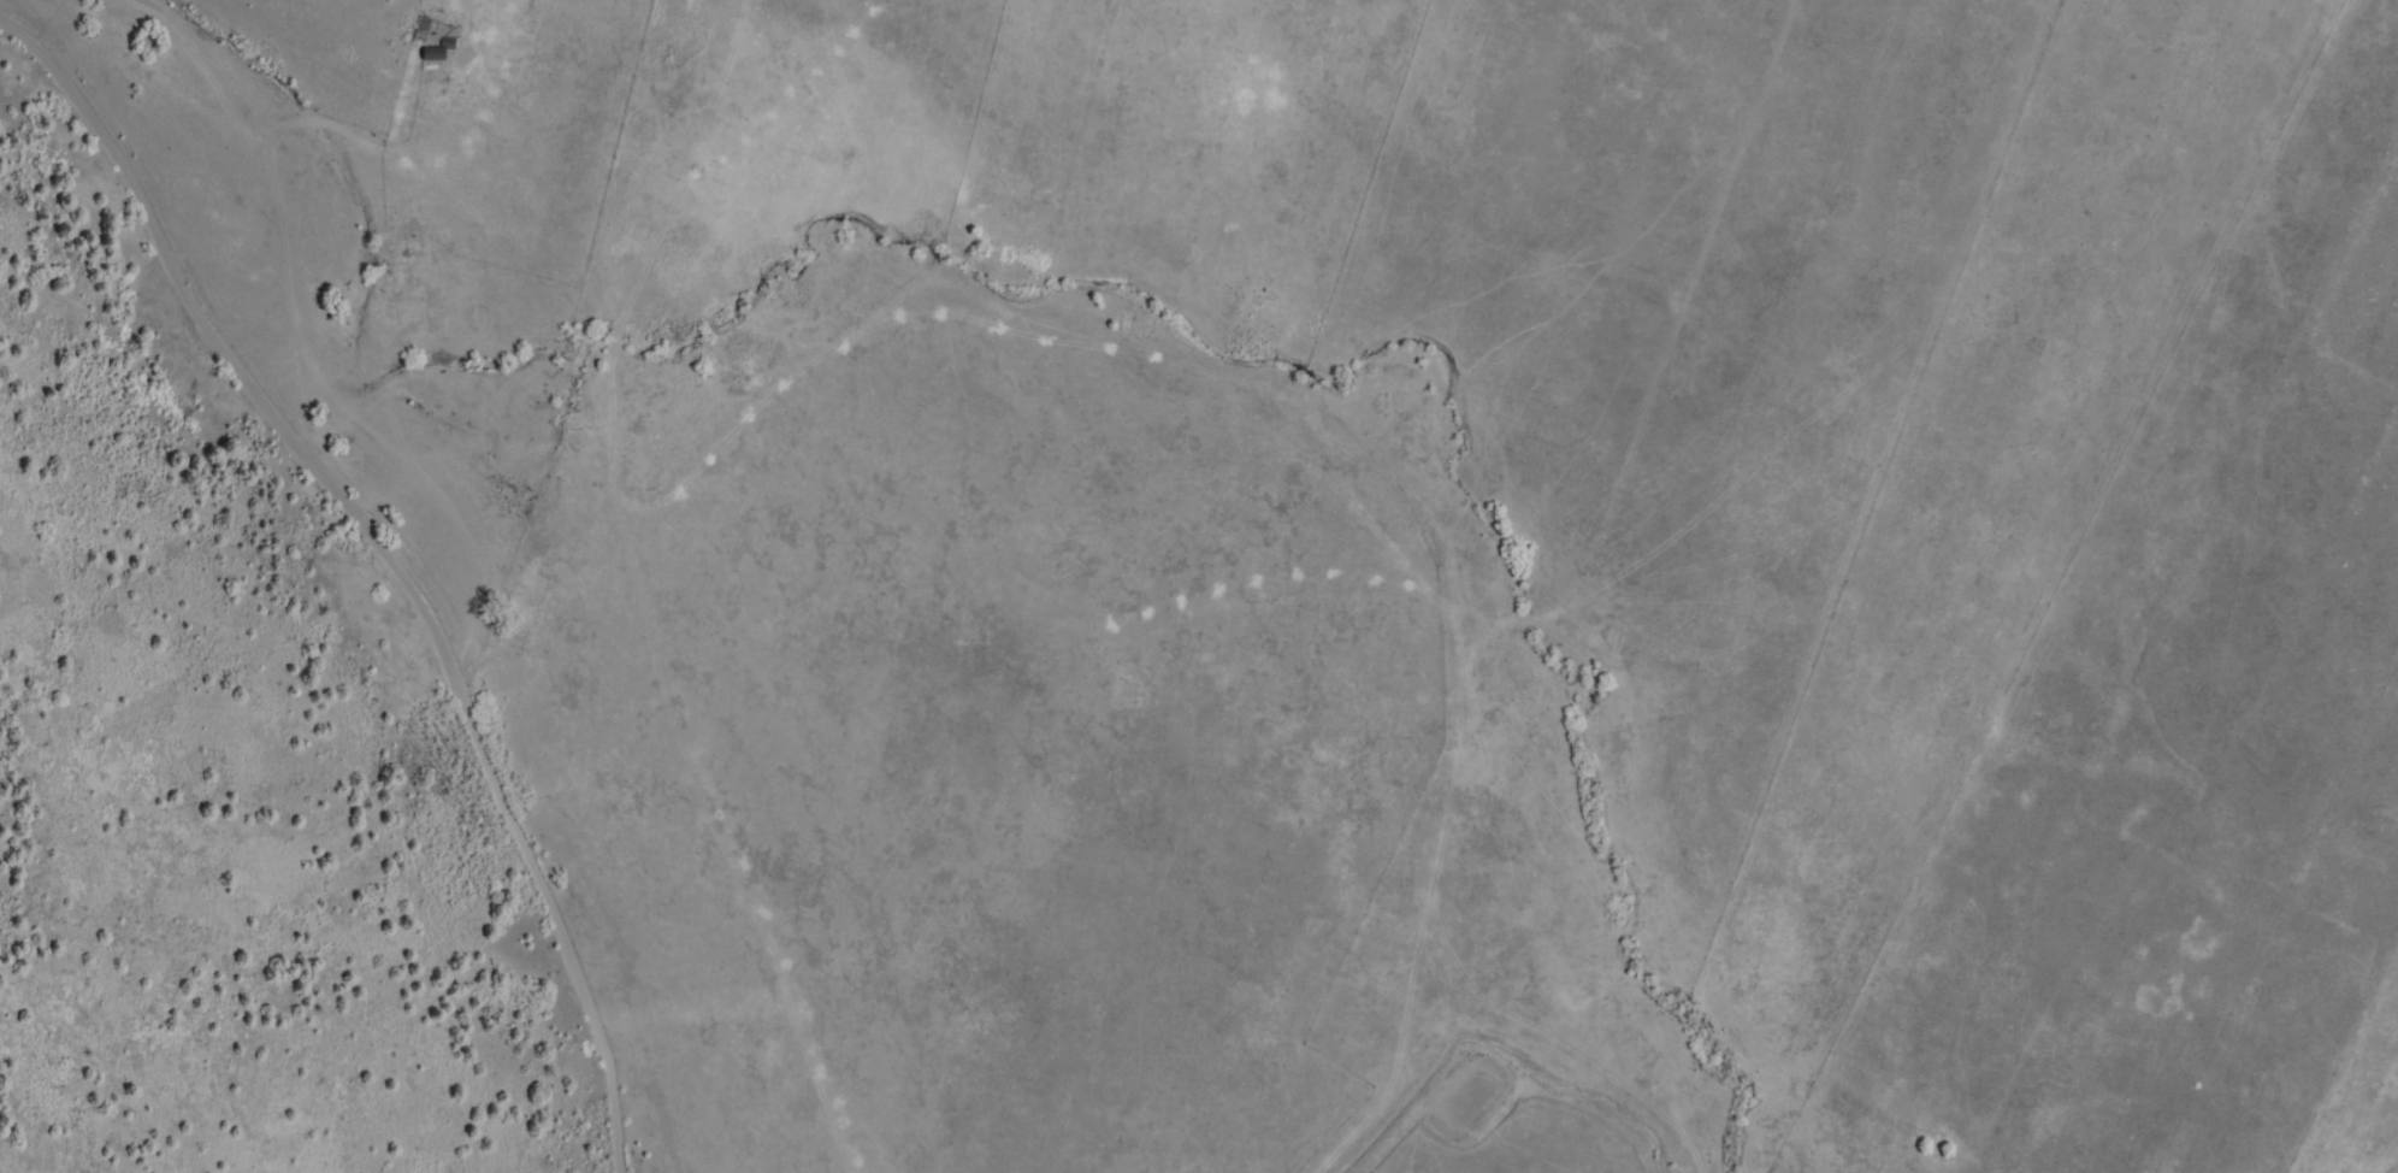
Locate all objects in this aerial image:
building: (423, 29)
road: (404, 553)
road: (1494, 1096)

